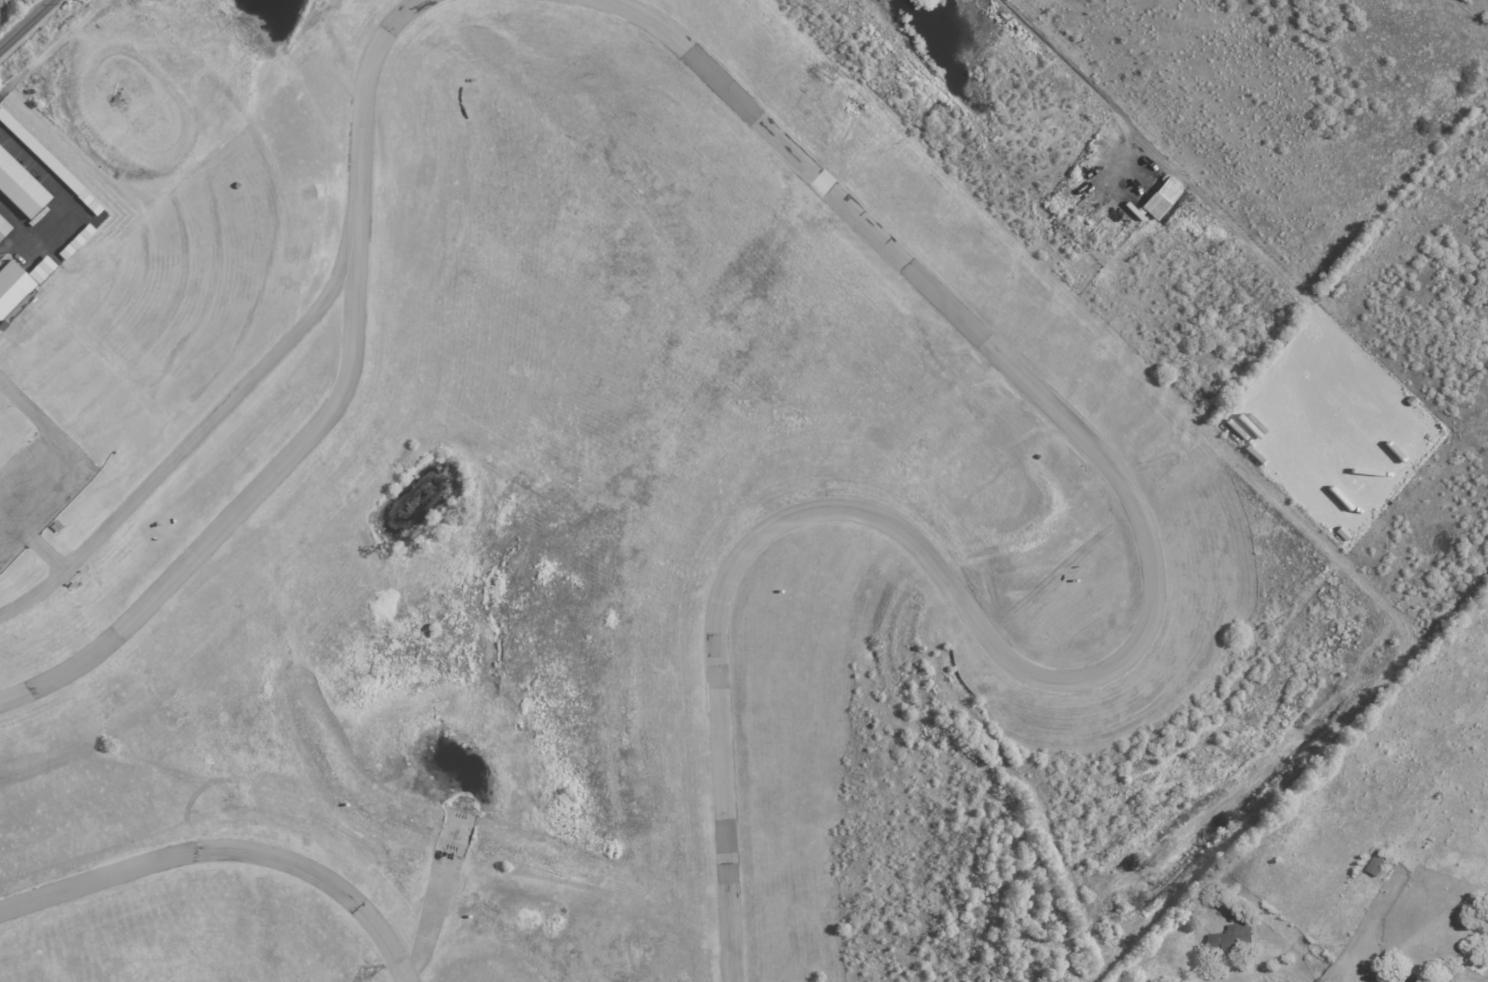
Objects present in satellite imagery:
road: (27, 25)
road: (1076, 75)
building: (49, 164)
building: (19, 187)
building: (1162, 197)
building: (3, 227)
building: (75, 241)
parking lot: (4, 245)
building: (41, 269)
building: (10, 286)
road: (20, 402)
raceway: (330, 412)
raceway: (190, 441)
parking lot: (37, 484)
parking lot: (21, 500)
raceway: (47, 557)
raceway: (1121, 658)
raceway: (224, 851)
building: (1234, 939)
building: (1392, 981)

